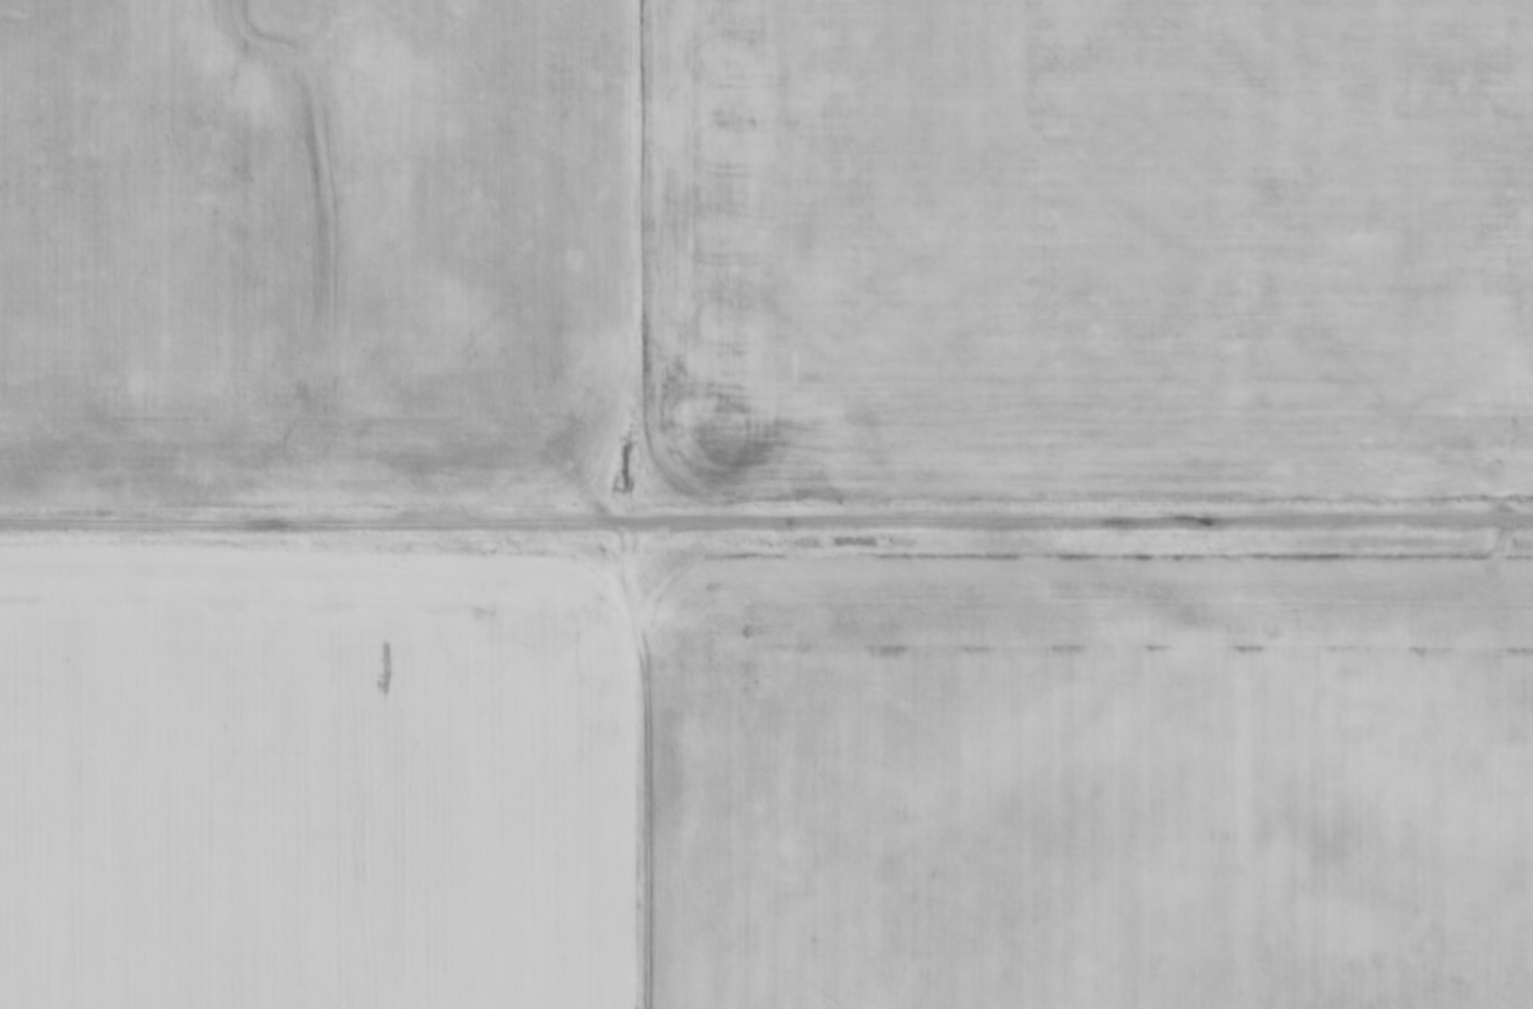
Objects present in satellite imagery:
road: (766, 519)
road: (636, 763)

